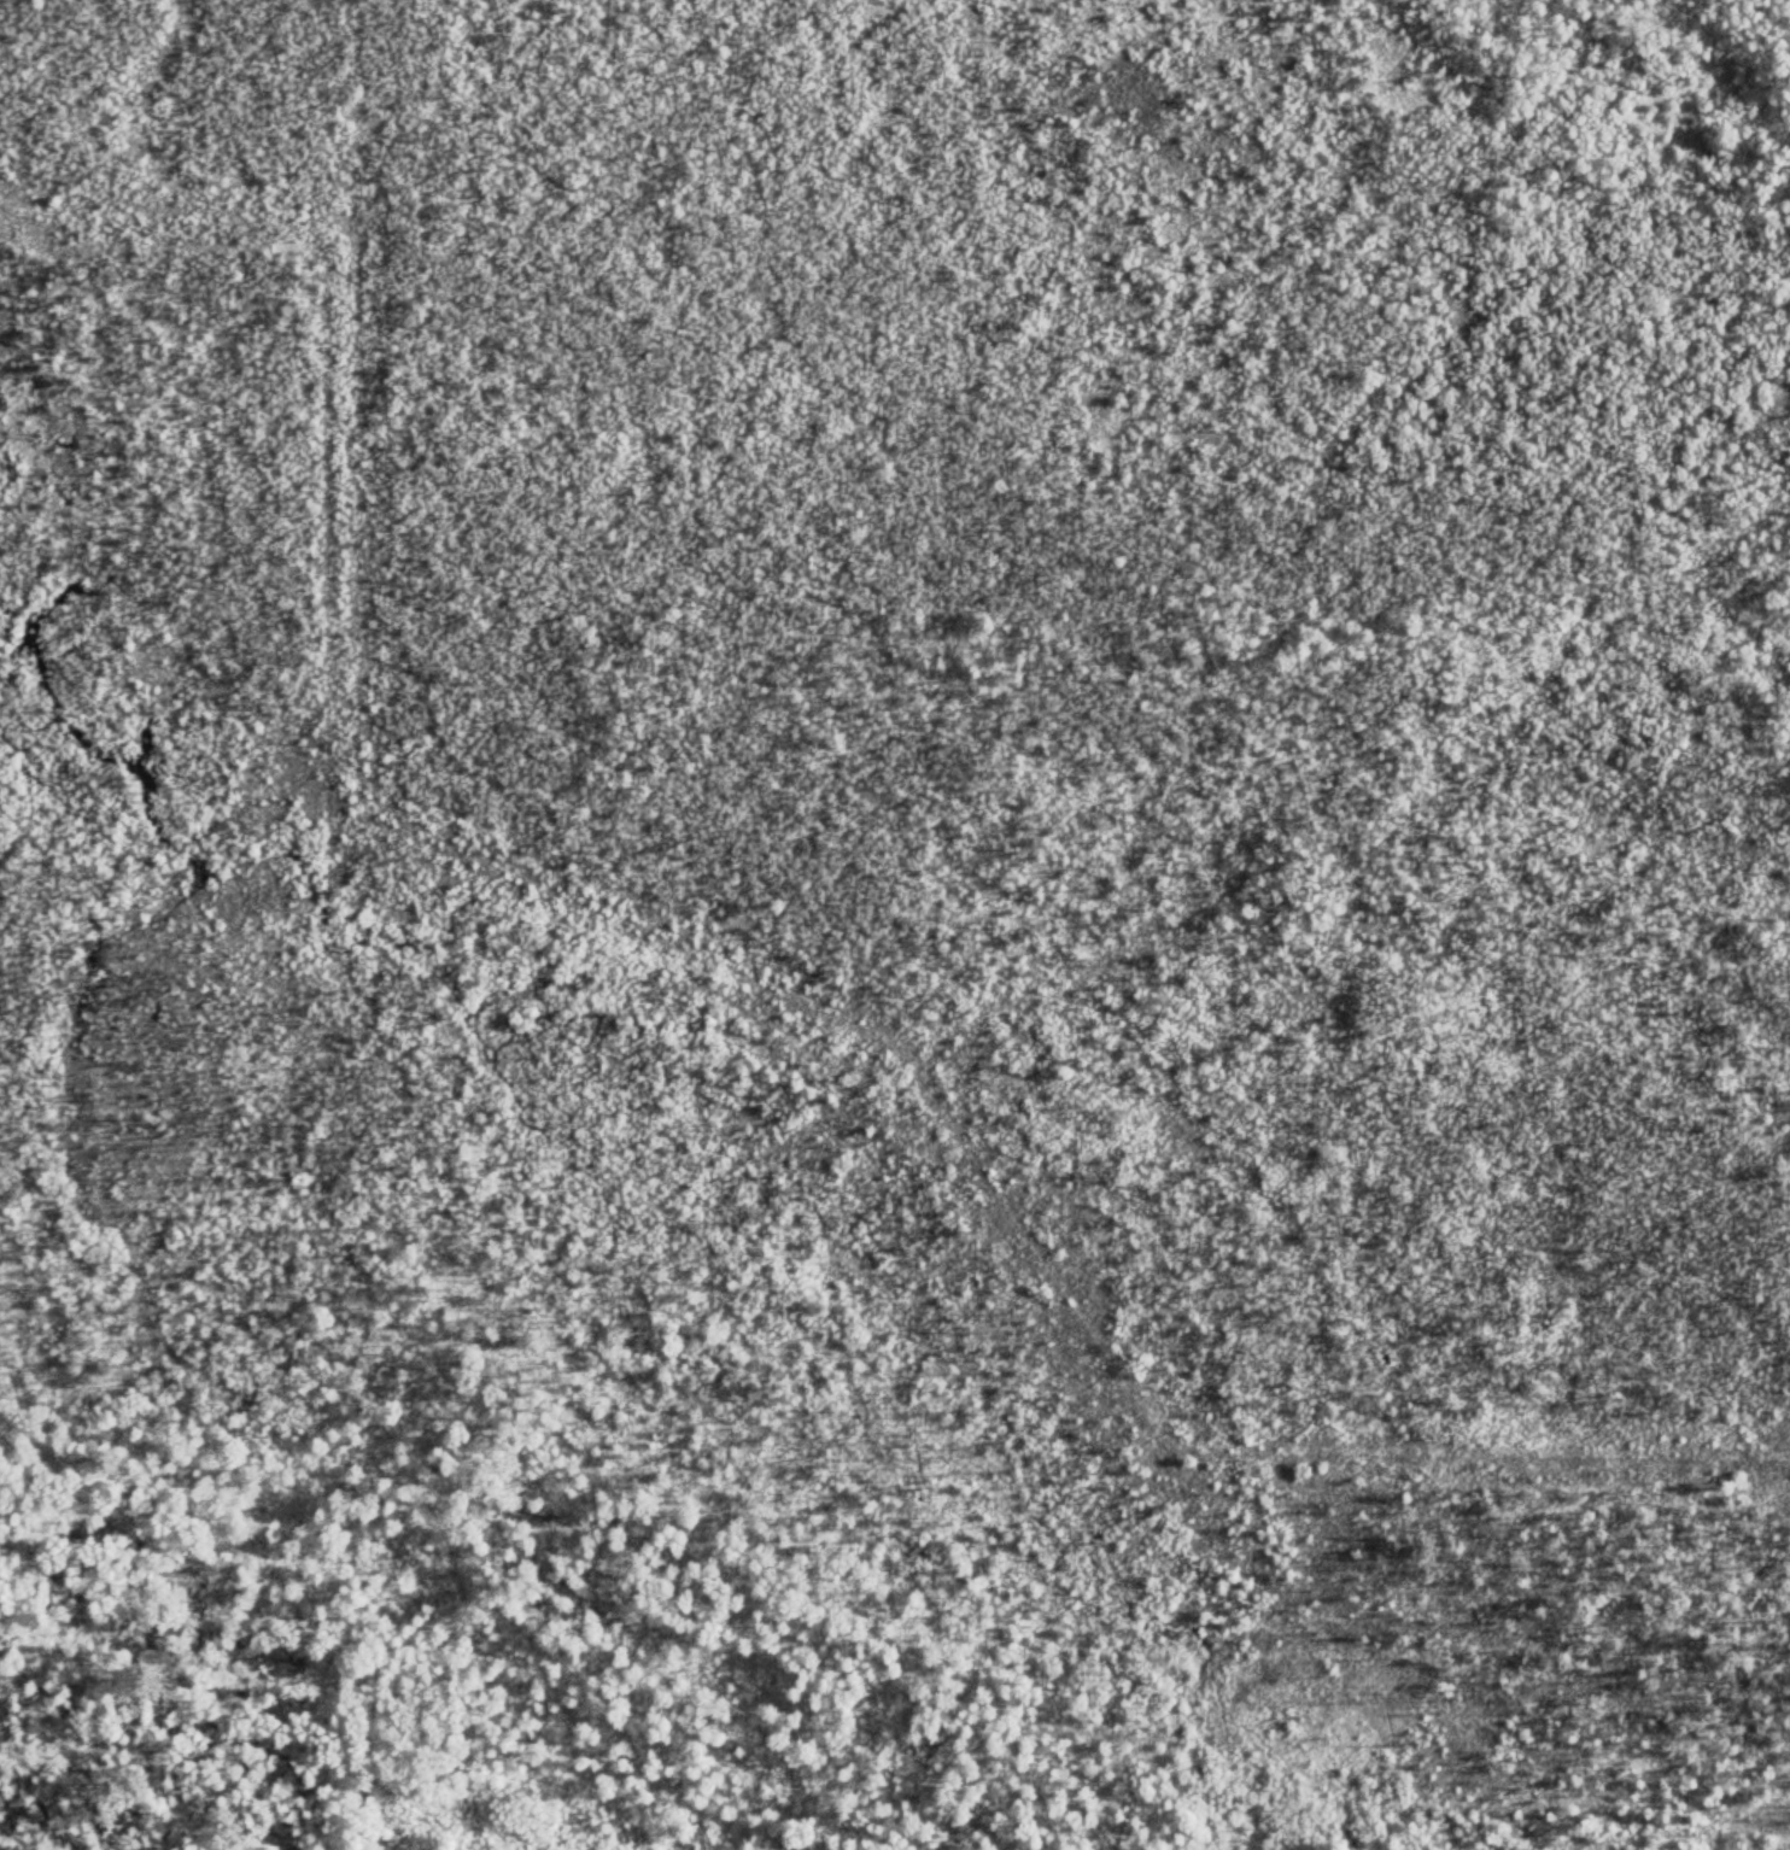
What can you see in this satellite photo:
airport: (1678, 66)

